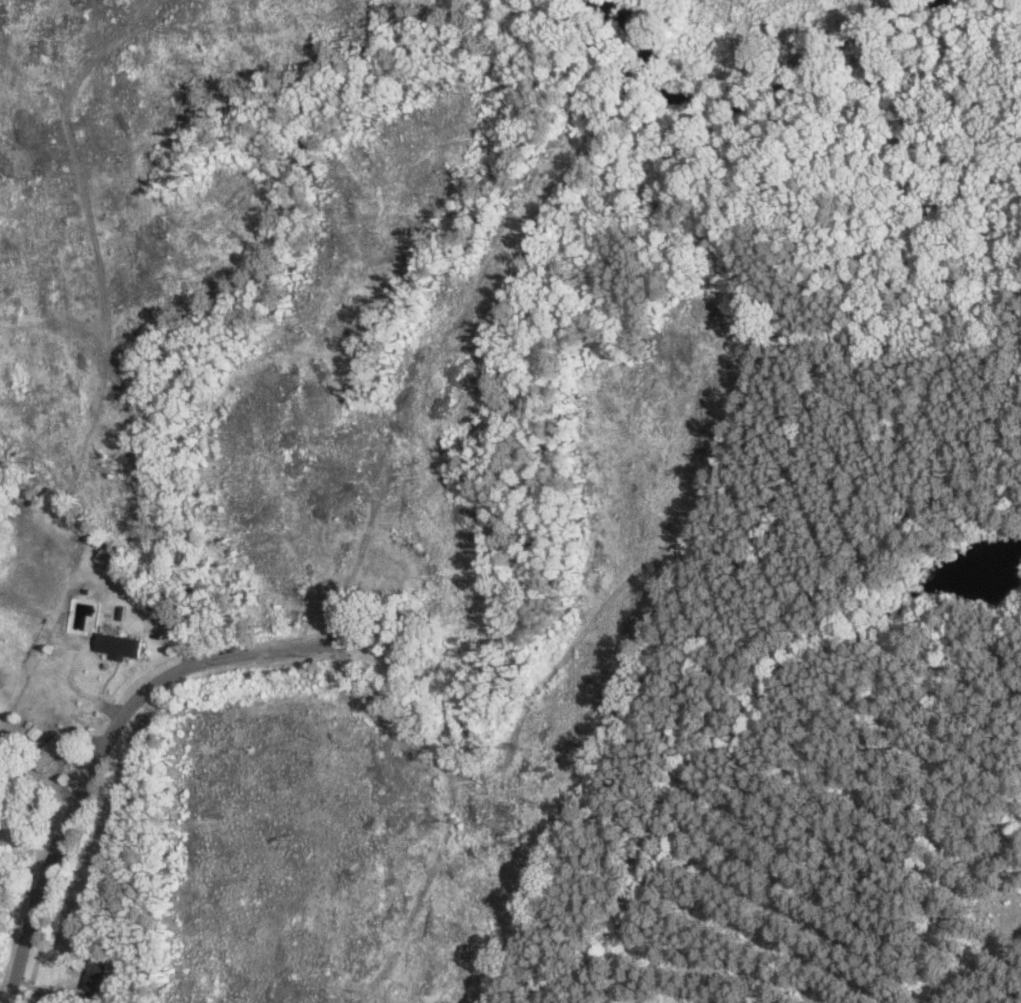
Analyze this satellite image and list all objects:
building: (81, 605)
building: (121, 644)
building: (53, 749)
road: (148, 765)
building: (99, 971)

